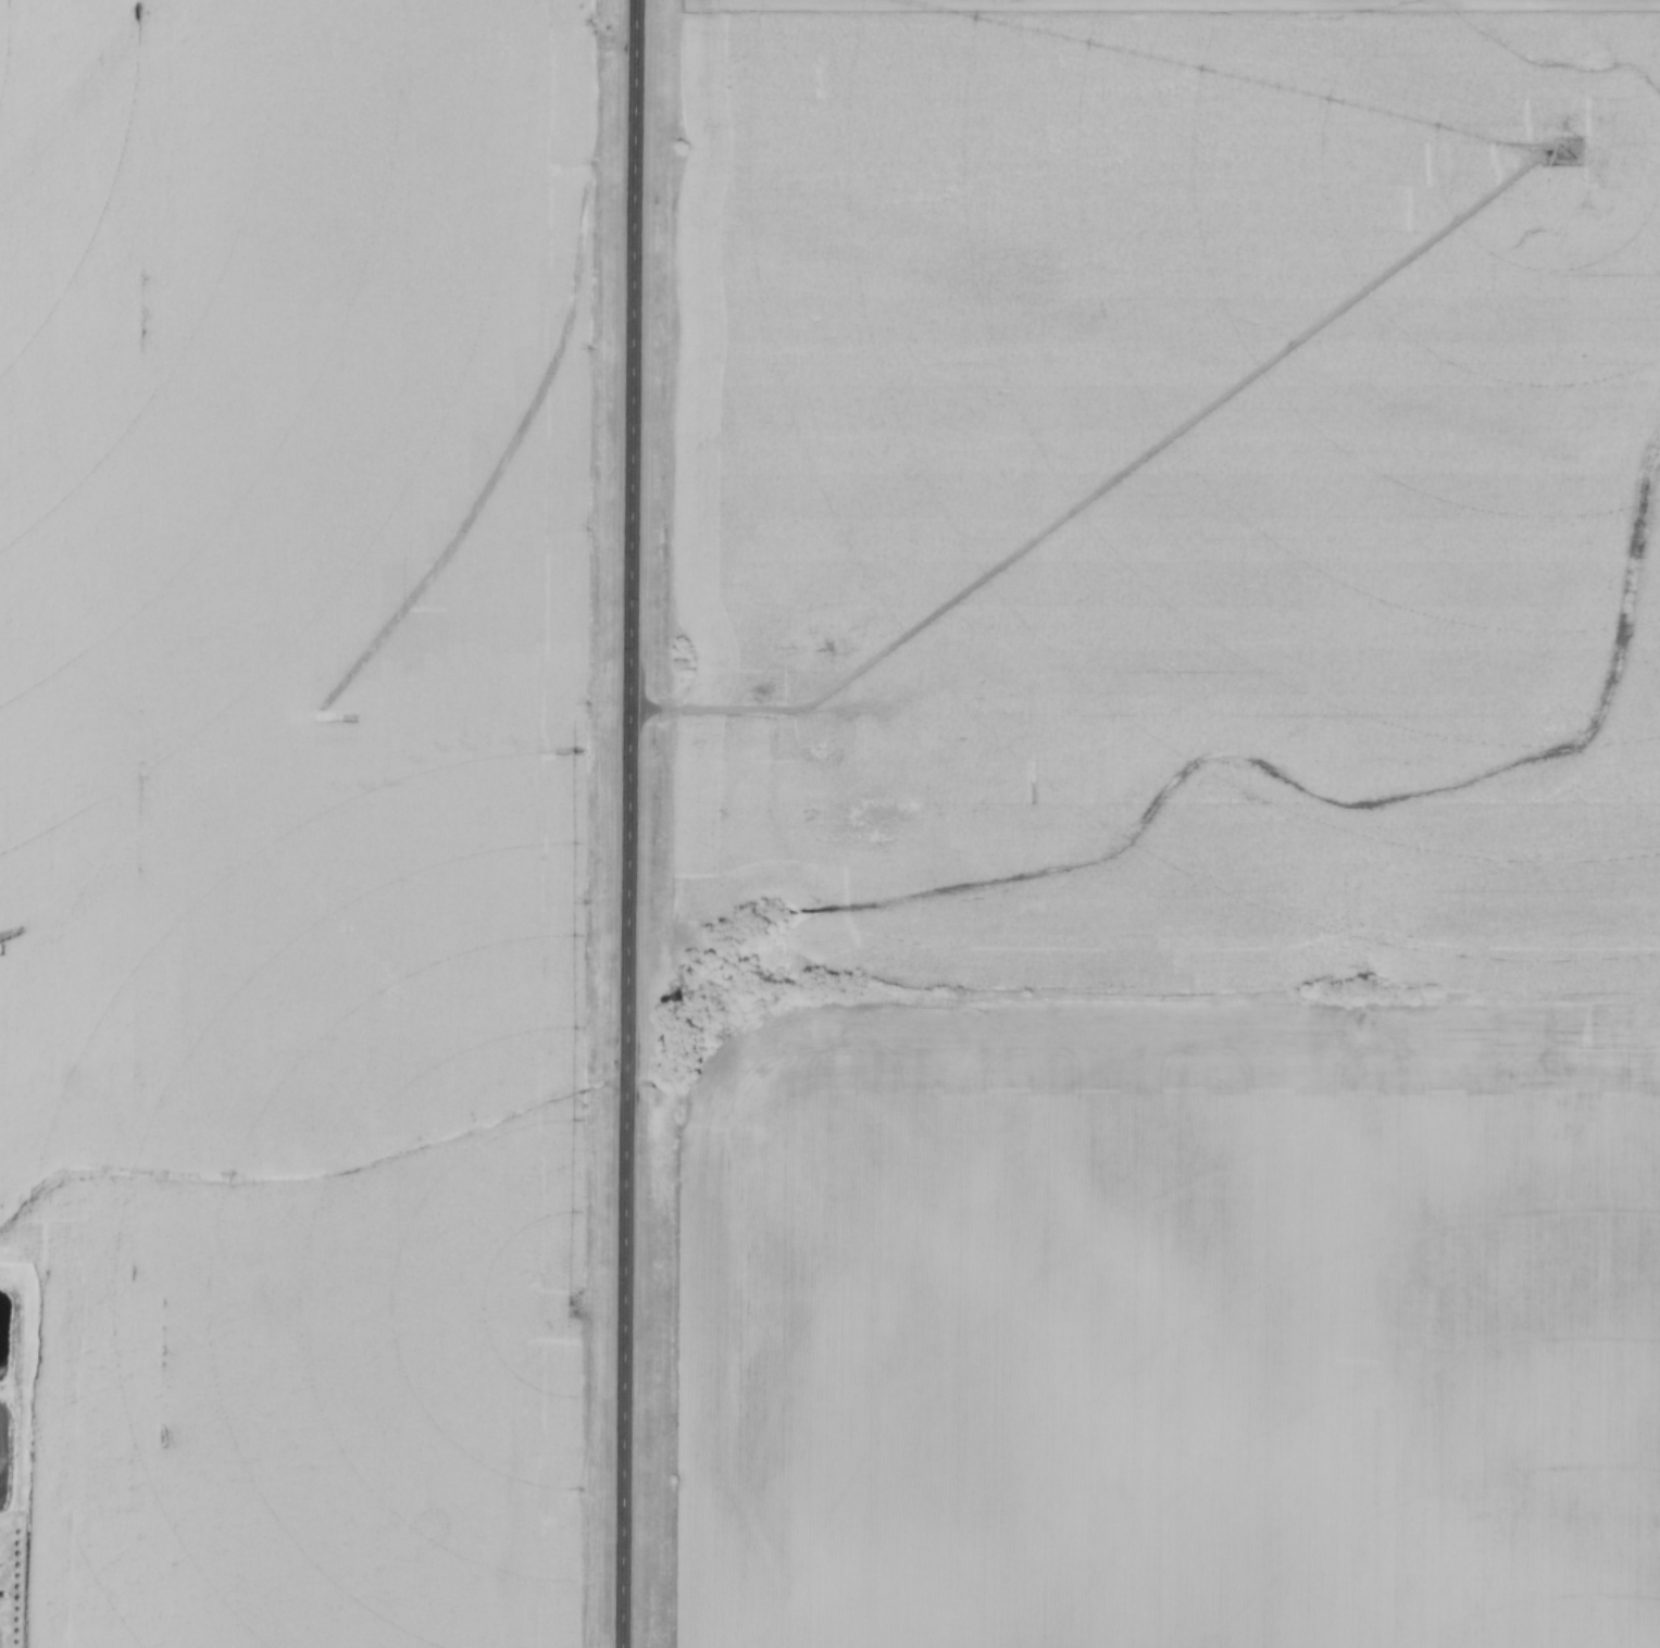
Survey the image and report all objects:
power tower: (1574, 151)
road: (754, 709)
road: (631, 823)

